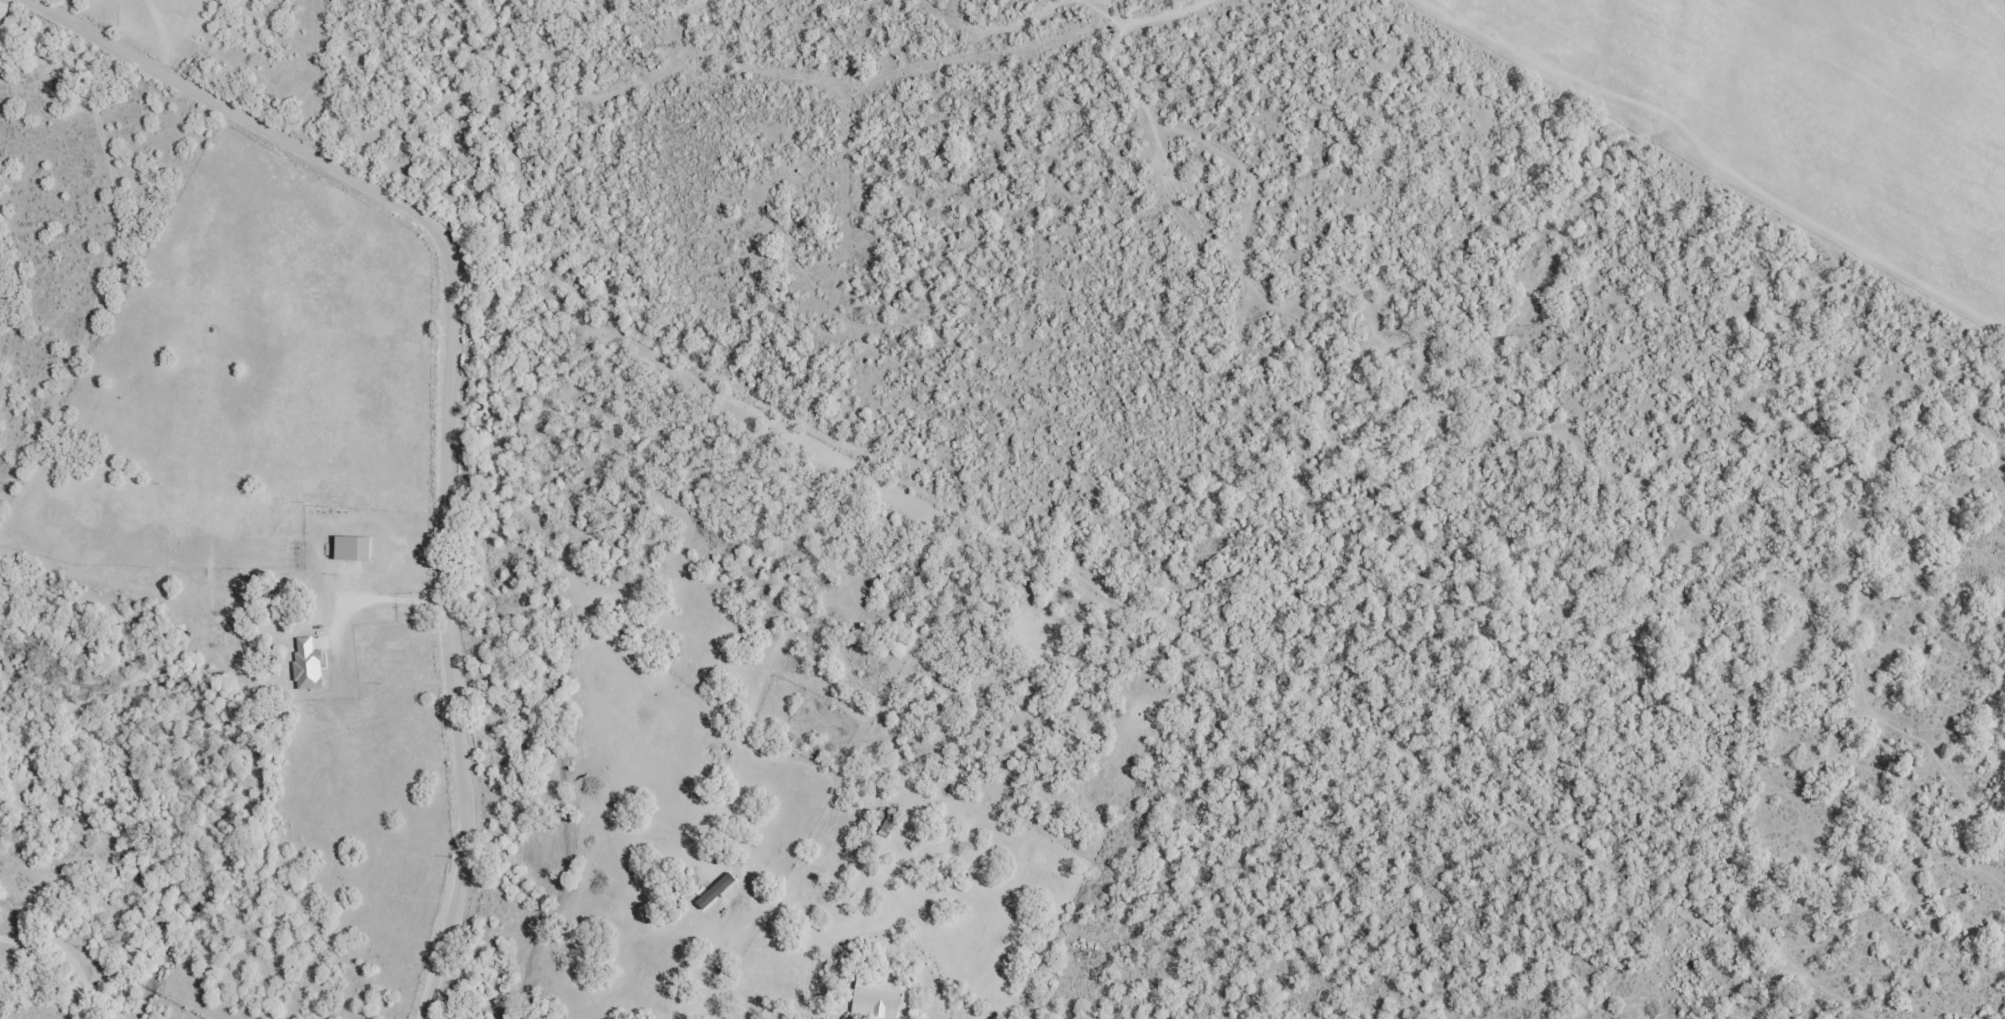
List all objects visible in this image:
road: (75, 115)
road: (438, 396)
building: (303, 642)
building: (886, 821)
building: (714, 874)
road: (712, 980)
building: (876, 1003)

